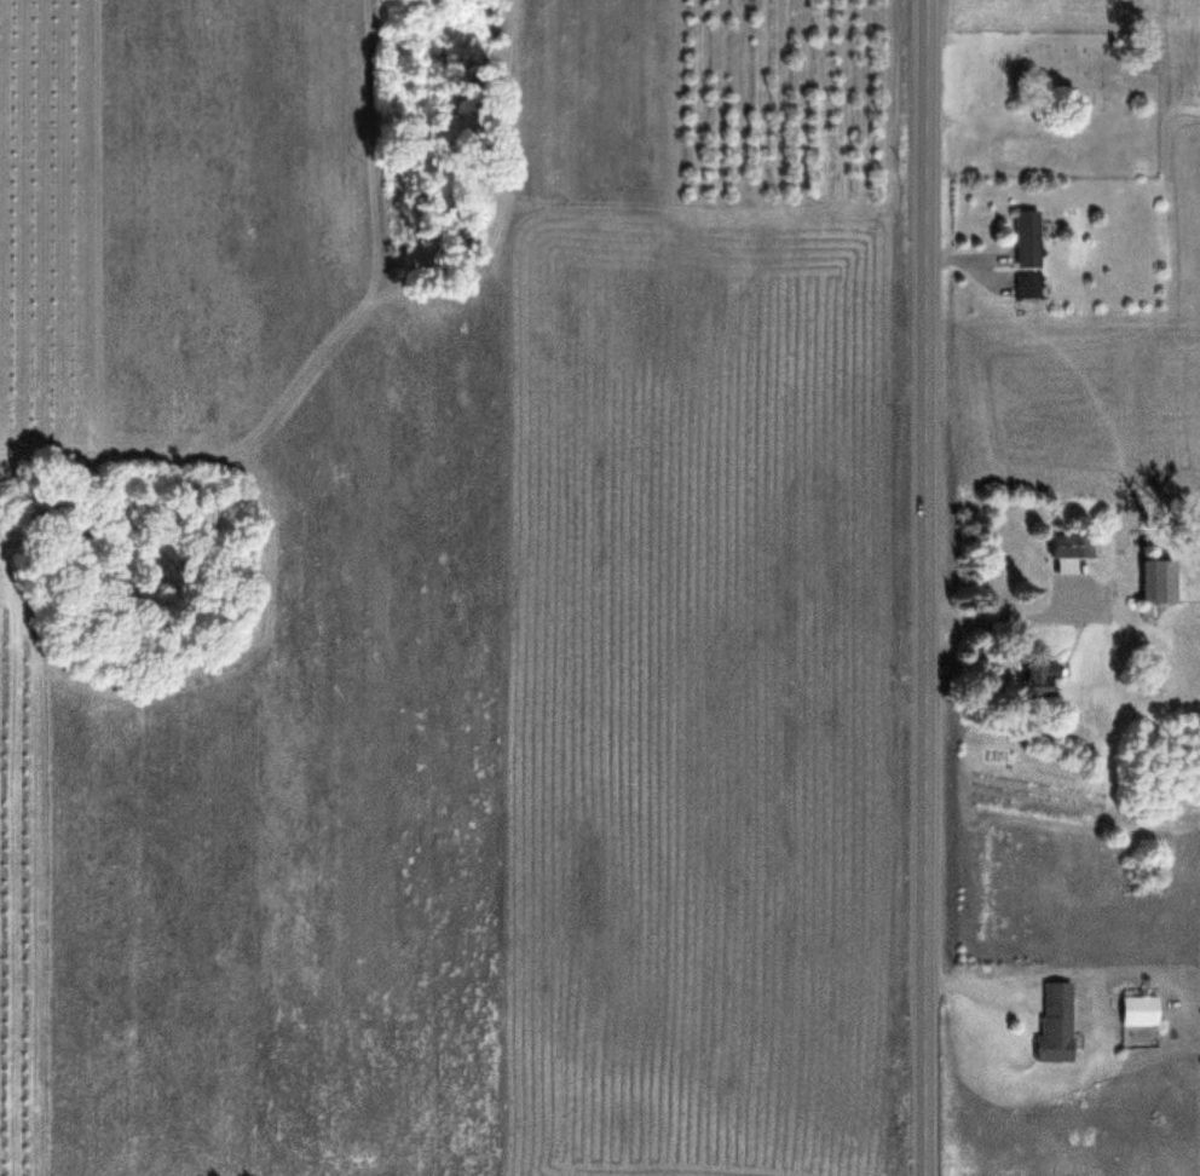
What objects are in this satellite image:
park: (1050, 105)
building: (1028, 238)
building: (1028, 287)
building: (1072, 546)
building: (1158, 581)
road: (924, 588)
building: (1038, 679)
building: (1142, 1010)
building: (1057, 1021)

